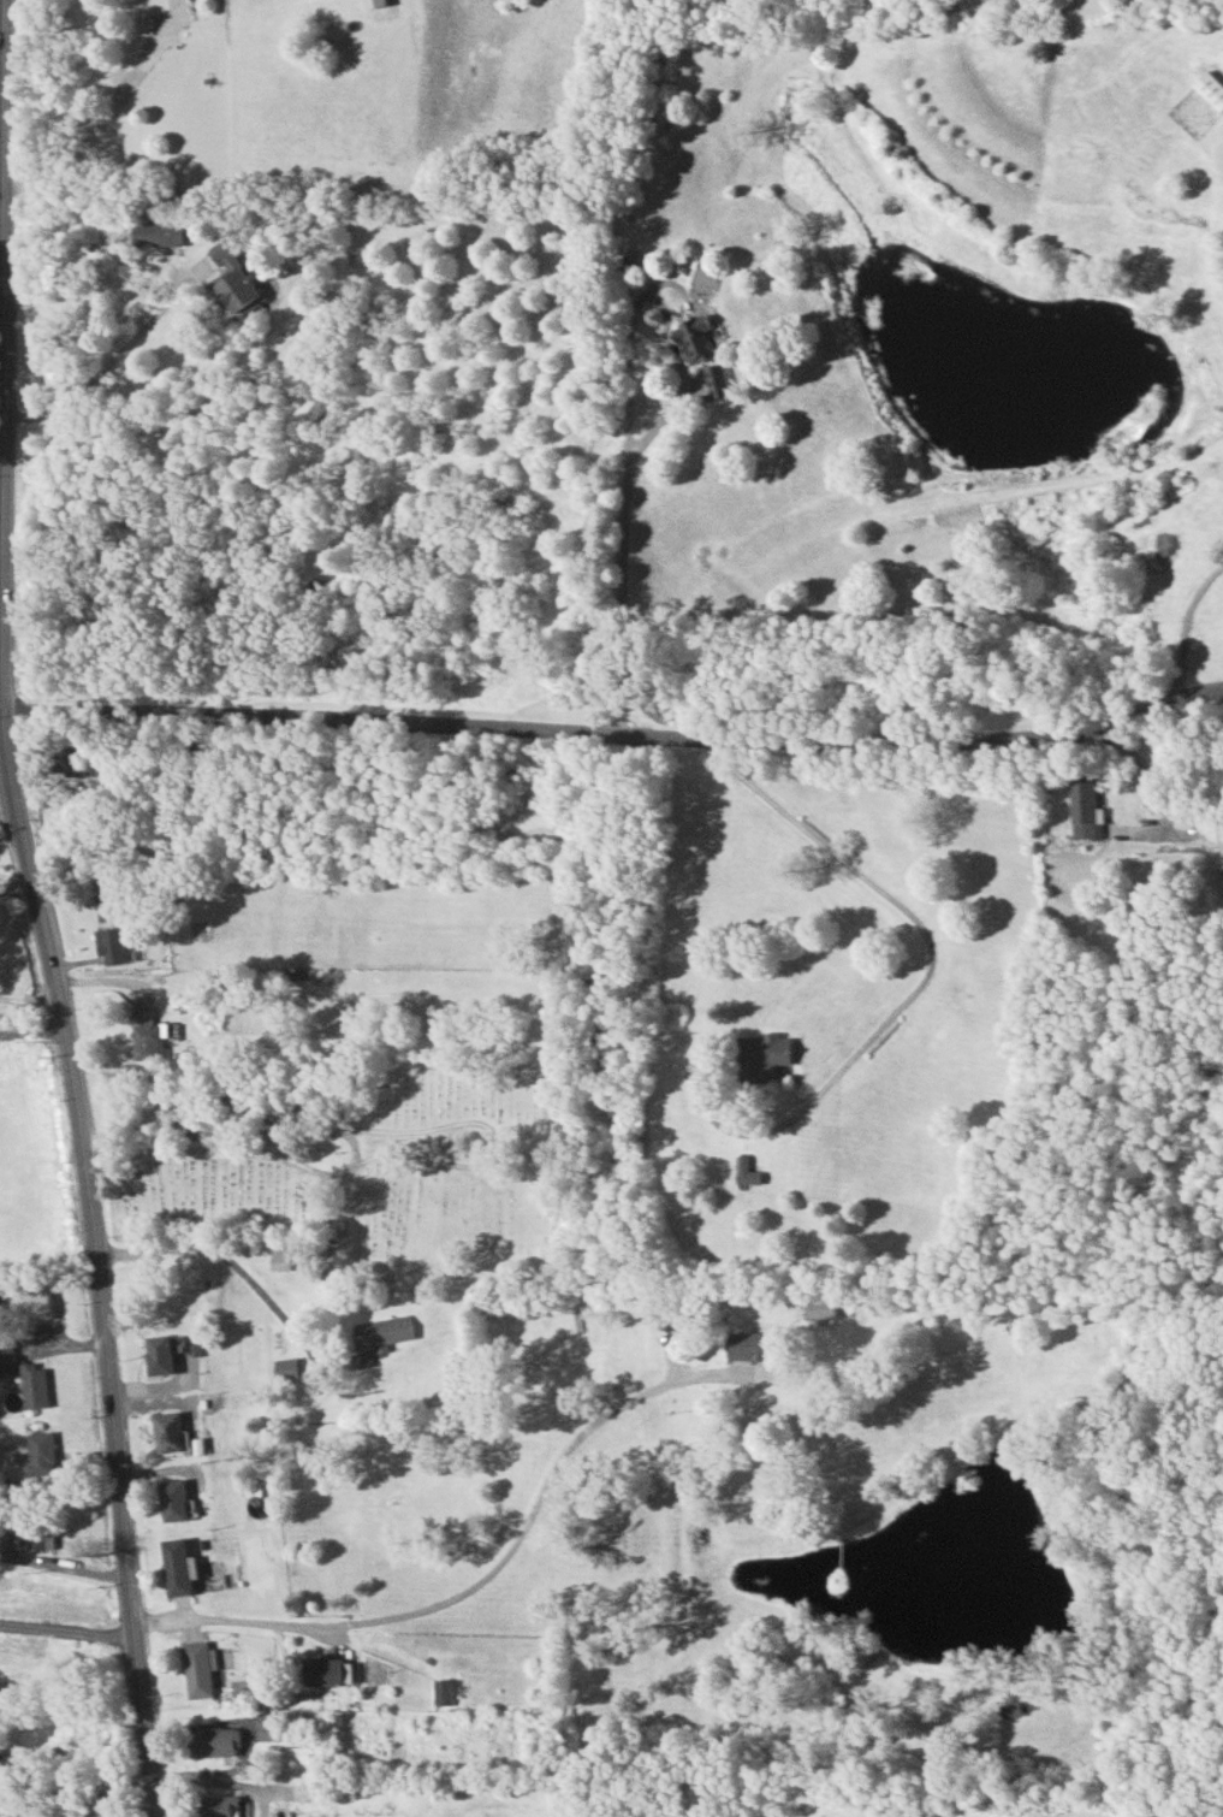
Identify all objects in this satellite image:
building: (1219, 54)
building: (1209, 89)
road: (100, 122)
building: (155, 233)
building: (232, 282)
building: (693, 341)
road: (113, 362)
building: (714, 380)
road: (629, 549)
road: (4, 558)
road: (7, 620)
road: (1187, 631)
road: (617, 729)
building: (69, 763)
building: (1081, 809)
building: (1221, 878)
building: (107, 930)
road: (934, 969)
road: (29, 996)
road: (34, 1032)
building: (147, 1040)
building: (761, 1054)
building: (744, 1171)
building: (280, 1254)
road: (248, 1273)
building: (173, 1302)
building: (670, 1315)
building: (381, 1330)
building: (752, 1344)
building: (156, 1354)
building: (6, 1361)
building: (284, 1367)
building: (32, 1383)
building: (165, 1432)
building: (38, 1451)
building: (172, 1499)
road: (125, 1523)
building: (41, 1532)
building: (176, 1566)
road: (477, 1585)
road: (69, 1626)
building: (195, 1668)
building: (322, 1669)
building: (441, 1689)
building: (1010, 1709)
building: (267, 1724)
building: (212, 1740)
building: (299, 1754)
building: (255, 1765)
road: (222, 1783)
building: (319, 1792)
building: (213, 1805)
building: (77, 1812)

